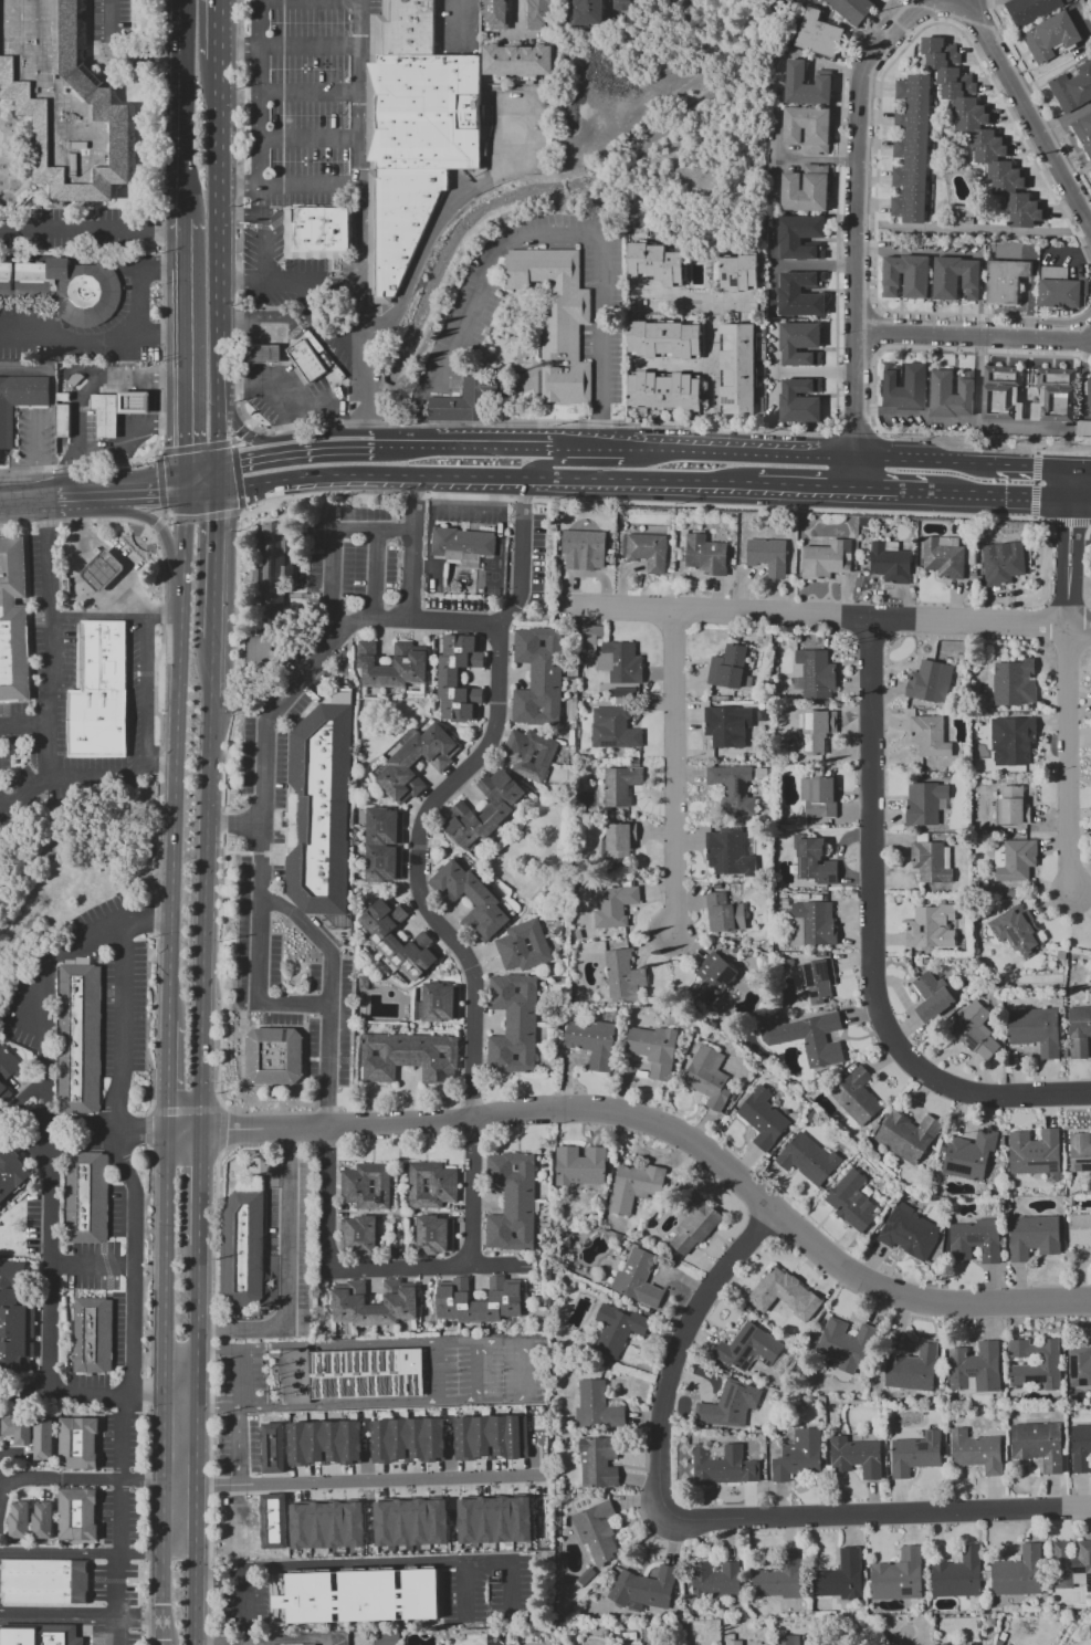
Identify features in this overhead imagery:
building: (1069, 1)
building: (622, 4)
building: (852, 10)
building: (1030, 10)
building: (587, 12)
building: (543, 14)
building: (502, 15)
road: (520, 17)
road: (459, 22)
building: (818, 34)
road: (183, 35)
building: (1051, 36)
road: (200, 46)
road: (287, 46)
road: (120, 54)
building: (522, 61)
building: (806, 85)
building: (1072, 88)
road: (311, 93)
road: (1040, 93)
road: (214, 95)
building: (65, 101)
parking lot: (302, 103)
road: (1026, 109)
road: (880, 114)
building: (808, 128)
building: (980, 132)
building: (1083, 134)
building: (413, 135)
road: (310, 138)
road: (262, 142)
road: (183, 146)
building: (912, 149)
road: (816, 159)
road: (286, 185)
building: (805, 189)
building: (962, 214)
road: (238, 216)
road: (358, 224)
road: (91, 228)
road: (974, 229)
building: (316, 232)
road: (543, 237)
building: (800, 237)
road: (183, 244)
building: (704, 258)
building: (654, 263)
road: (857, 268)
building: (738, 273)
building: (906, 276)
road: (139, 279)
building: (955, 279)
building: (1005, 281)
road: (298, 286)
building: (66, 289)
building: (1061, 289)
parking lot: (303, 292)
building: (801, 294)
road: (675, 296)
road: (159, 303)
road: (878, 310)
building: (556, 321)
road: (875, 322)
road: (214, 329)
road: (92, 337)
building: (664, 339)
building: (312, 343)
building: (800, 344)
building: (260, 354)
building: (308, 360)
road: (124, 364)
building: (737, 369)
gas station: (289, 373)
road: (185, 376)
road: (136, 377)
road: (716, 377)
building: (905, 387)
building: (663, 391)
building: (1001, 392)
building: (1089, 392)
building: (952, 395)
building: (1055, 395)
road: (874, 397)
building: (469, 399)
building: (19, 400)
building: (799, 400)
building: (136, 404)
gas station: (136, 404)
rooftop solar panel: (726, 405)
road: (50, 410)
road: (856, 410)
building: (106, 416)
building: (64, 422)
road: (160, 423)
road: (548, 423)
road: (245, 426)
building: (1083, 428)
road: (851, 429)
road: (239, 430)
road: (240, 431)
road: (232, 439)
road: (231, 443)
road: (193, 447)
road: (406, 447)
road: (496, 448)
road: (592, 449)
road: (155, 450)
road: (326, 450)
road: (120, 453)
road: (842, 458)
road: (244, 461)
road: (541, 463)
traffic signals: (213, 468)
road: (1076, 468)
road: (199, 475)
road: (481, 476)
road: (160, 479)
road: (235, 479)
road: (213, 480)
traffic signals: (186, 484)
road: (1034, 485)
road: (144, 486)
road: (801, 488)
road: (199, 489)
road: (76, 491)
traffic signals: (213, 493)
road: (344, 493)
road: (972, 493)
road: (25, 494)
road: (470, 504)
road: (242, 512)
road: (162, 514)
road: (167, 517)
road: (206, 517)
road: (1067, 521)
road: (1060, 522)
road: (1077, 523)
road: (159, 525)
road: (156, 526)
road: (1087, 531)
road: (331, 545)
building: (460, 545)
road: (412, 548)
building: (581, 549)
building: (643, 551)
building: (71, 555)
building: (704, 555)
building: (766, 555)
building: (942, 558)
building: (825, 559)
building: (889, 562)
building: (1000, 563)
rooftop solar panel: (273, 564)
road: (212, 565)
building: (105, 572)
gas station: (105, 572)
building: (273, 572)
road: (373, 575)
park: (491, 576)
building: (63, 585)
road: (95, 615)
road: (164, 615)
road: (828, 619)
building: (14, 624)
building: (586, 643)
building: (408, 656)
building: (617, 663)
building: (726, 667)
road: (210, 669)
building: (812, 673)
building: (458, 677)
building: (537, 677)
building: (929, 681)
building: (1013, 682)
road: (144, 687)
building: (620, 692)
building: (98, 693)
road: (46, 708)
road: (23, 721)
building: (726, 725)
building: (612, 729)
building: (814, 731)
road: (1068, 734)
building: (929, 736)
building: (1010, 741)
road: (158, 744)
road: (178, 752)
building: (527, 754)
building: (412, 759)
road: (208, 761)
road: (672, 774)
building: (619, 785)
rooftop solar panel: (743, 787)
road: (24, 788)
building: (732, 788)
road: (441, 796)
building: (818, 796)
building: (923, 803)
building: (1013, 804)
building: (484, 810)
building: (325, 811)
rooftop solar panel: (743, 814)
road: (262, 818)
road: (234, 822)
building: (619, 842)
building: (382, 845)
rooftop solar panel: (808, 851)
building: (726, 852)
building: (1013, 859)
building: (812, 861)
building: (931, 861)
rooftop solar panel: (835, 876)
rooftop solar panel: (827, 879)
building: (470, 899)
building: (613, 905)
building: (724, 914)
building: (811, 923)
building: (931, 926)
building: (1015, 930)
rooftop solar panel: (994, 935)
rooftop solar panel: (1016, 936)
road: (316, 939)
building: (398, 940)
road: (870, 942)
building: (522, 945)
rooftop solar panel: (825, 971)
building: (622, 973)
rooftop solar panel: (810, 975)
road: (203, 976)
building: (712, 977)
building: (817, 981)
rooftop solar panel: (718, 986)
rooftop solar panel: (811, 993)
rooftop solar panel: (713, 995)
building: (932, 995)
road: (45, 1000)
building: (439, 1003)
building: (512, 1024)
building: (1035, 1029)
building: (974, 1031)
building: (1078, 1031)
building: (807, 1038)
building: (82, 1041)
building: (590, 1042)
building: (652, 1049)
building: (408, 1057)
building: (277, 1059)
building: (6, 1070)
road: (122, 1072)
road: (172, 1076)
building: (706, 1077)
building: (854, 1097)
road: (188, 1110)
building: (762, 1118)
road: (101, 1129)
road: (672, 1132)
building: (904, 1136)
building: (1034, 1152)
building: (1079, 1152)
building: (967, 1155)
building: (807, 1159)
rooftop solar panel: (1090, 1162)
building: (579, 1165)
rooftop solar panel: (955, 1169)
rooftop solar panel: (1090, 1169)
building: (10, 1171)
building: (430, 1185)
building: (365, 1186)
building: (632, 1186)
road: (199, 1188)
building: (91, 1198)
building: (850, 1201)
building: (511, 1202)
building: (693, 1224)
rooftop solar panel: (898, 1225)
building: (1079, 1228)
building: (909, 1233)
building: (358, 1235)
building: (433, 1235)
rooftop solar panel: (903, 1236)
building: (1031, 1236)
building: (975, 1240)
road: (168, 1246)
building: (245, 1249)
rooftop solar panel: (987, 1254)
road: (51, 1260)
road: (93, 1266)
road: (403, 1268)
road: (285, 1272)
building: (637, 1278)
road: (196, 1288)
building: (503, 1291)
building: (347, 1295)
building: (783, 1295)
building: (14, 1319)
building: (616, 1329)
road: (134, 1331)
building: (92, 1335)
road: (196, 1339)
building: (845, 1344)
building: (748, 1348)
road: (217, 1349)
road: (180, 1354)
road: (675, 1354)
building: (1032, 1363)
rooftop solar panel: (1070, 1366)
building: (1079, 1366)
building: (973, 1368)
building: (912, 1369)
rooftop solar panel: (974, 1371)
road: (481, 1372)
road: (524, 1372)
road: (433, 1373)
building: (350, 1376)
road: (164, 1377)
road: (195, 1377)
road: (239, 1377)
rooftop solar panel: (1038, 1381)
rooftop solar panel: (1083, 1383)
road: (66, 1394)
road: (141, 1395)
road: (148, 1396)
road: (210, 1398)
road: (164, 1402)
building: (728, 1405)
road: (179, 1406)
road: (216, 1406)
building: (595, 1406)
building: (17, 1429)
rooftop solar panel: (930, 1436)
building: (490, 1437)
building: (42, 1439)
building: (406, 1440)
building: (81, 1445)
building: (1037, 1445)
road: (238, 1446)
rooftop solar panel: (923, 1446)
building: (271, 1447)
building: (344, 1448)
building: (1080, 1448)
building: (975, 1452)
building: (914, 1453)
building: (459, 1454)
building: (797, 1456)
building: (854, 1456)
building: (597, 1461)
building: (722, 1465)
road: (388, 1479)
road: (80, 1480)
road: (201, 1482)
road: (0, 1485)
road: (873, 1512)
building: (80, 1516)
road: (119, 1519)
building: (18, 1520)
building: (493, 1520)
building: (41, 1521)
building: (409, 1522)
road: (165, 1526)
road: (191, 1526)
building: (325, 1526)
building: (596, 1531)
road: (59, 1554)
road: (140, 1554)
road: (360, 1564)
building: (1071, 1564)
building: (1018, 1573)
building: (957, 1574)
building: (839, 1576)
building: (896, 1576)
building: (778, 1578)
building: (714, 1580)
building: (48, 1583)
road: (464, 1588)
building: (643, 1588)
rooftop solar panel: (908, 1591)
building: (359, 1597)
road: (4, 1615)
road: (64, 1616)
road: (140, 1617)
road: (4, 1618)
building: (41, 1635)
building: (386, 1638)
road: (279, 1639)
building: (786, 1639)
building: (732, 1643)
building: (312, 1644)
building: (945, 1644)
building: (968, 1644)

